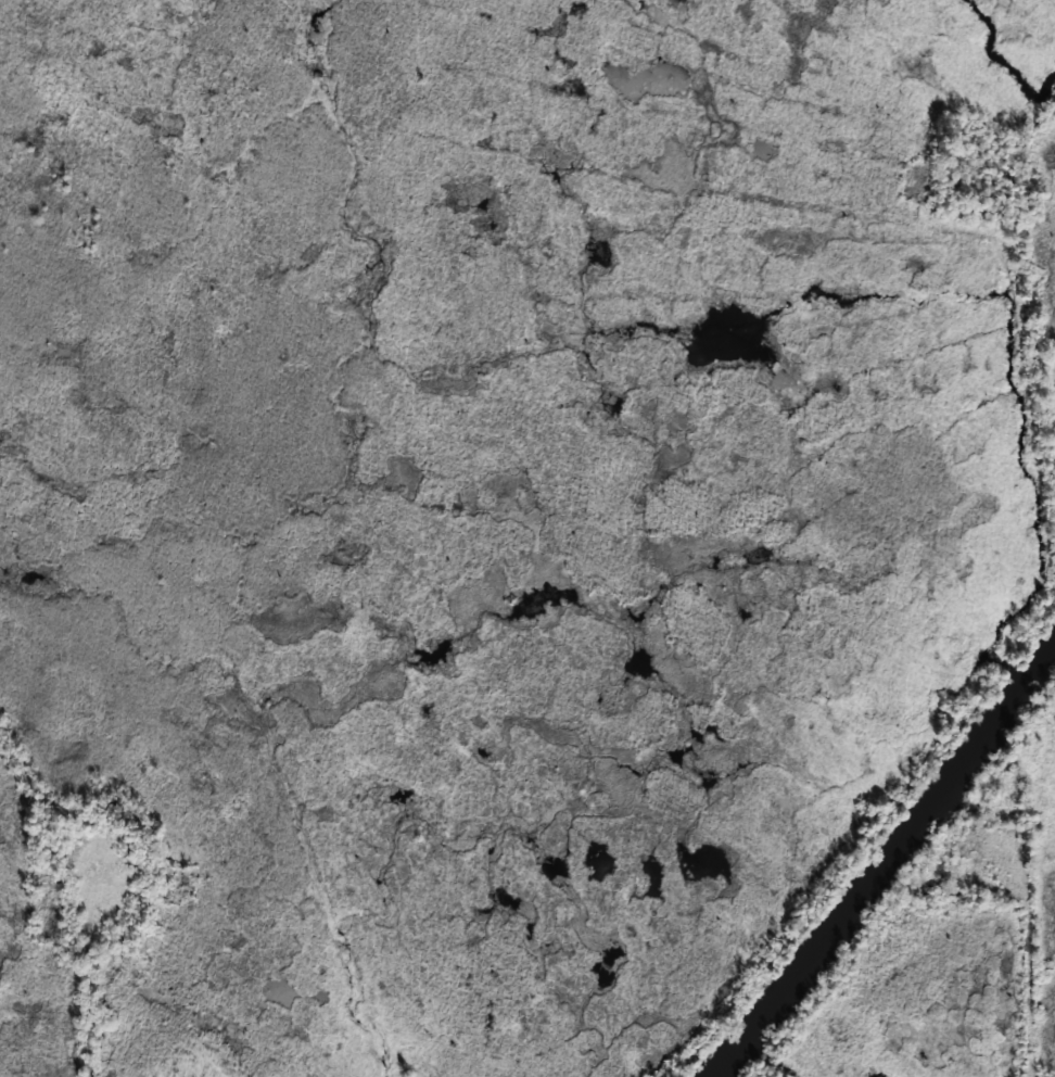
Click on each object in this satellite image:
road: (1033, 946)

